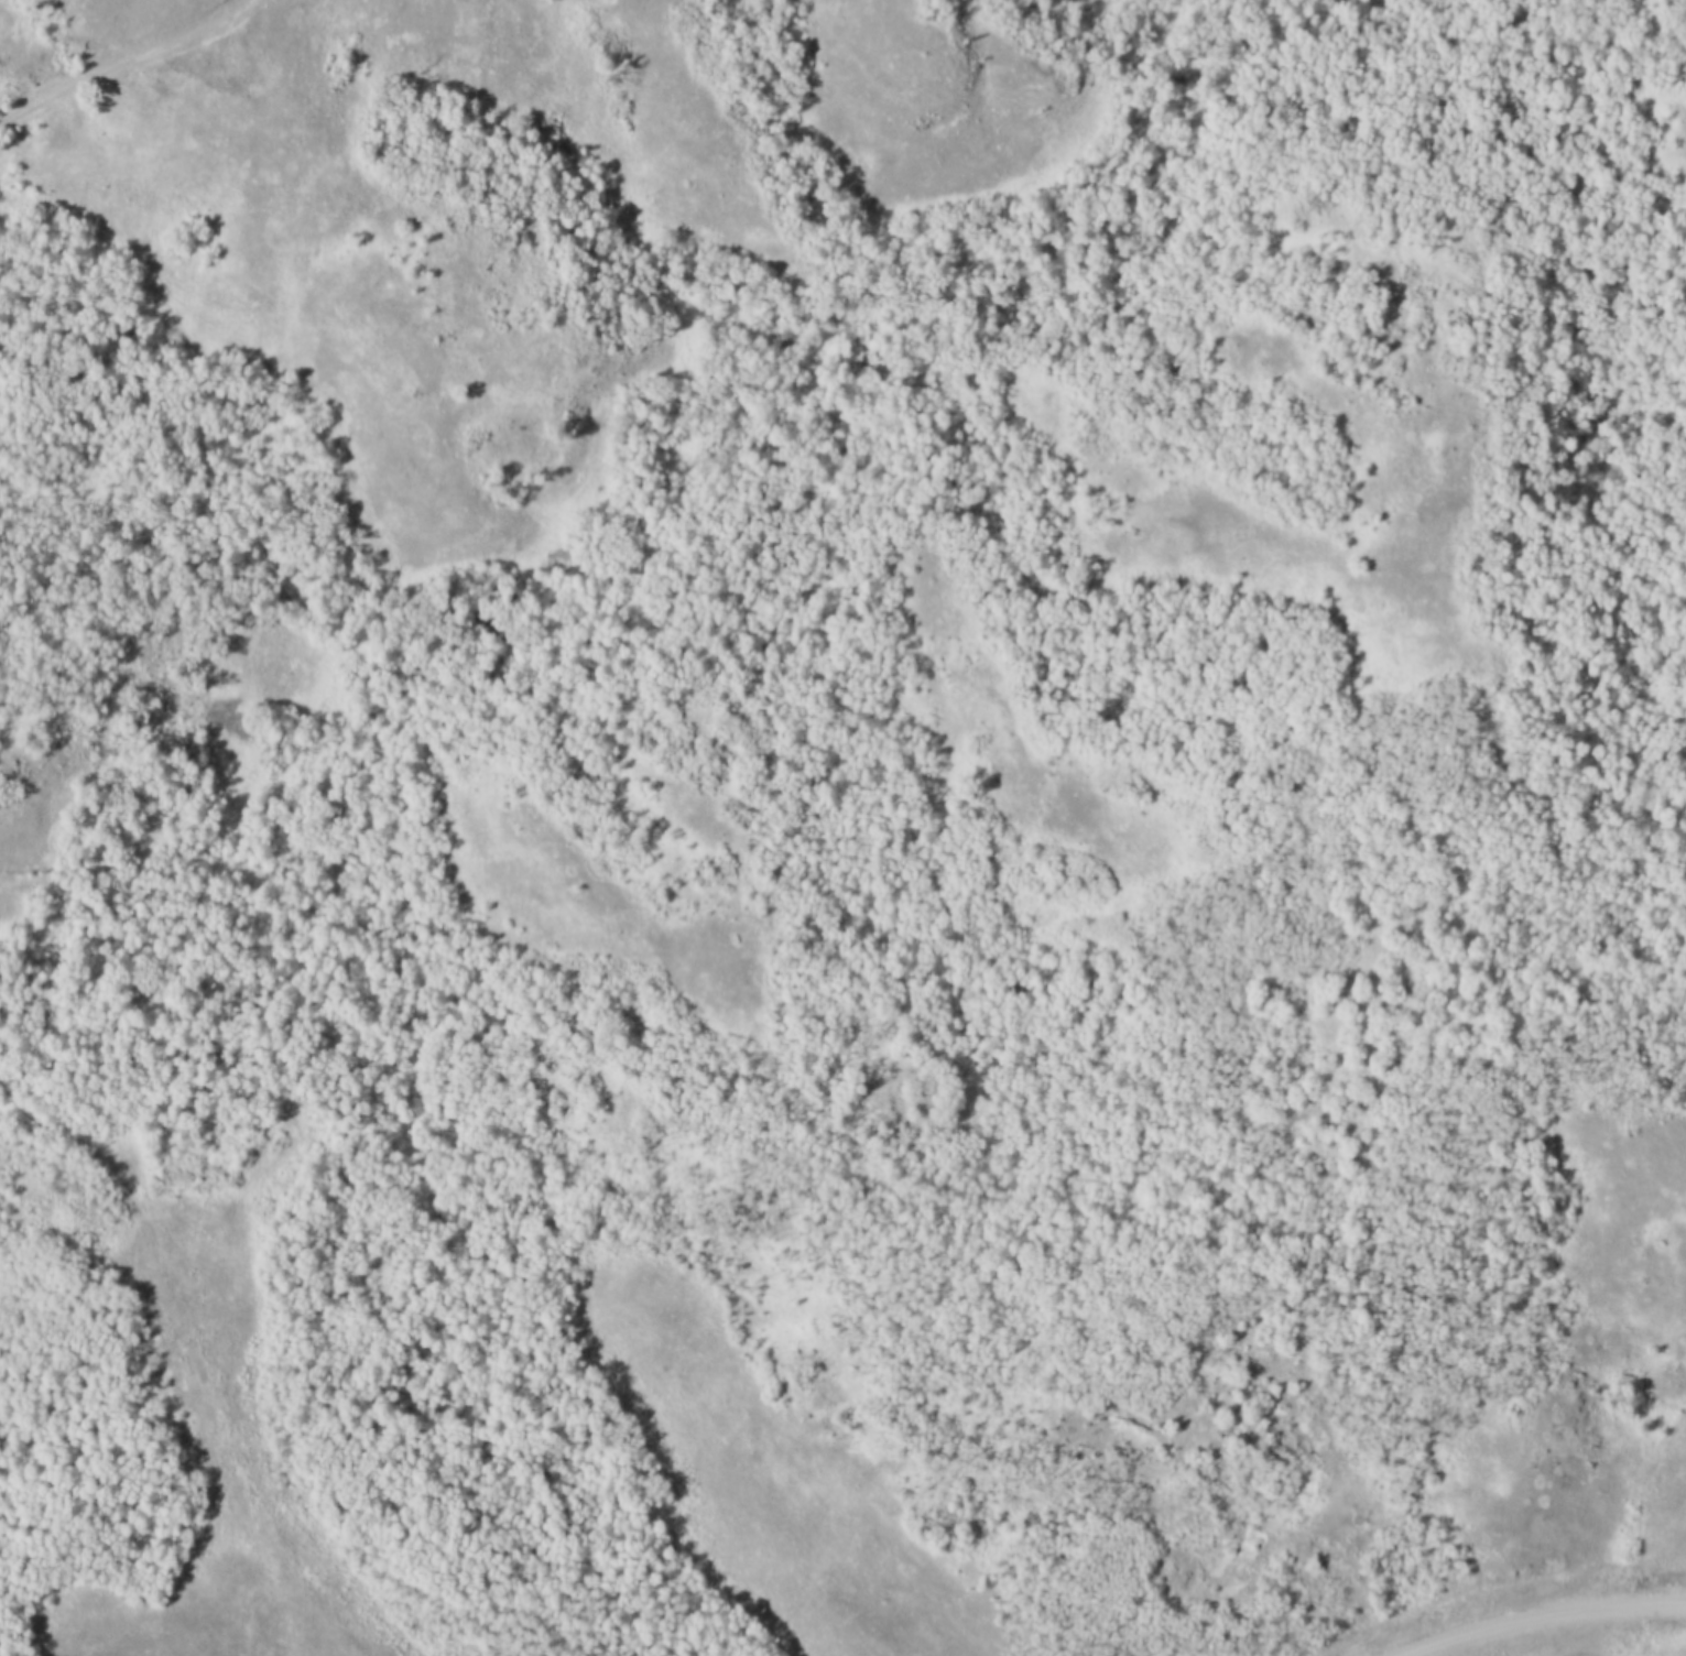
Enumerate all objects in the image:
road: (131, 65)

